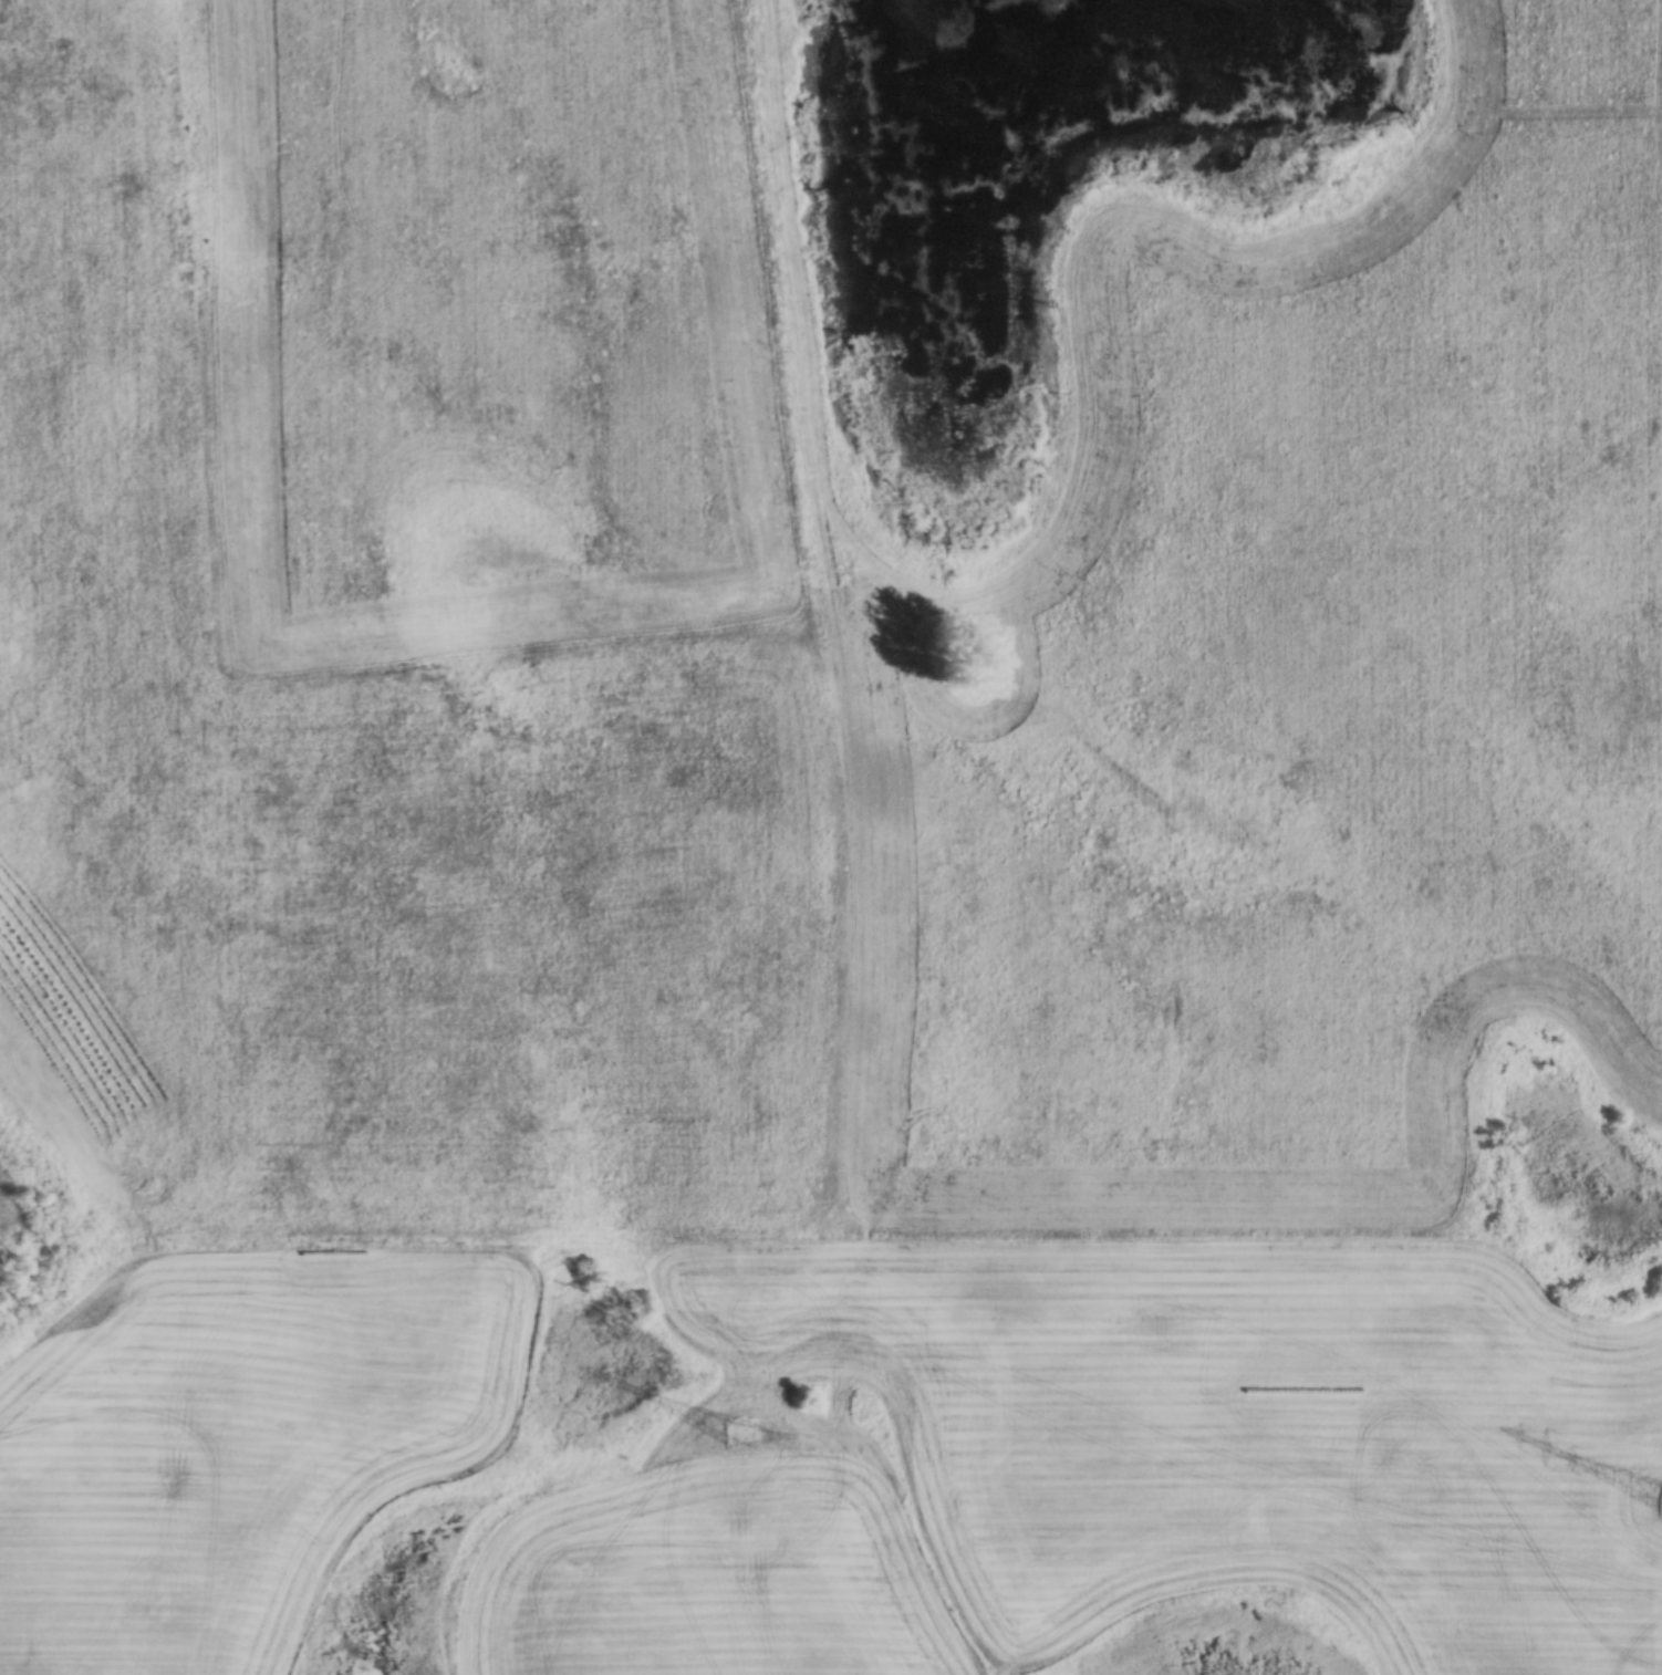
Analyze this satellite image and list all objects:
power tower: (731, 1439)

